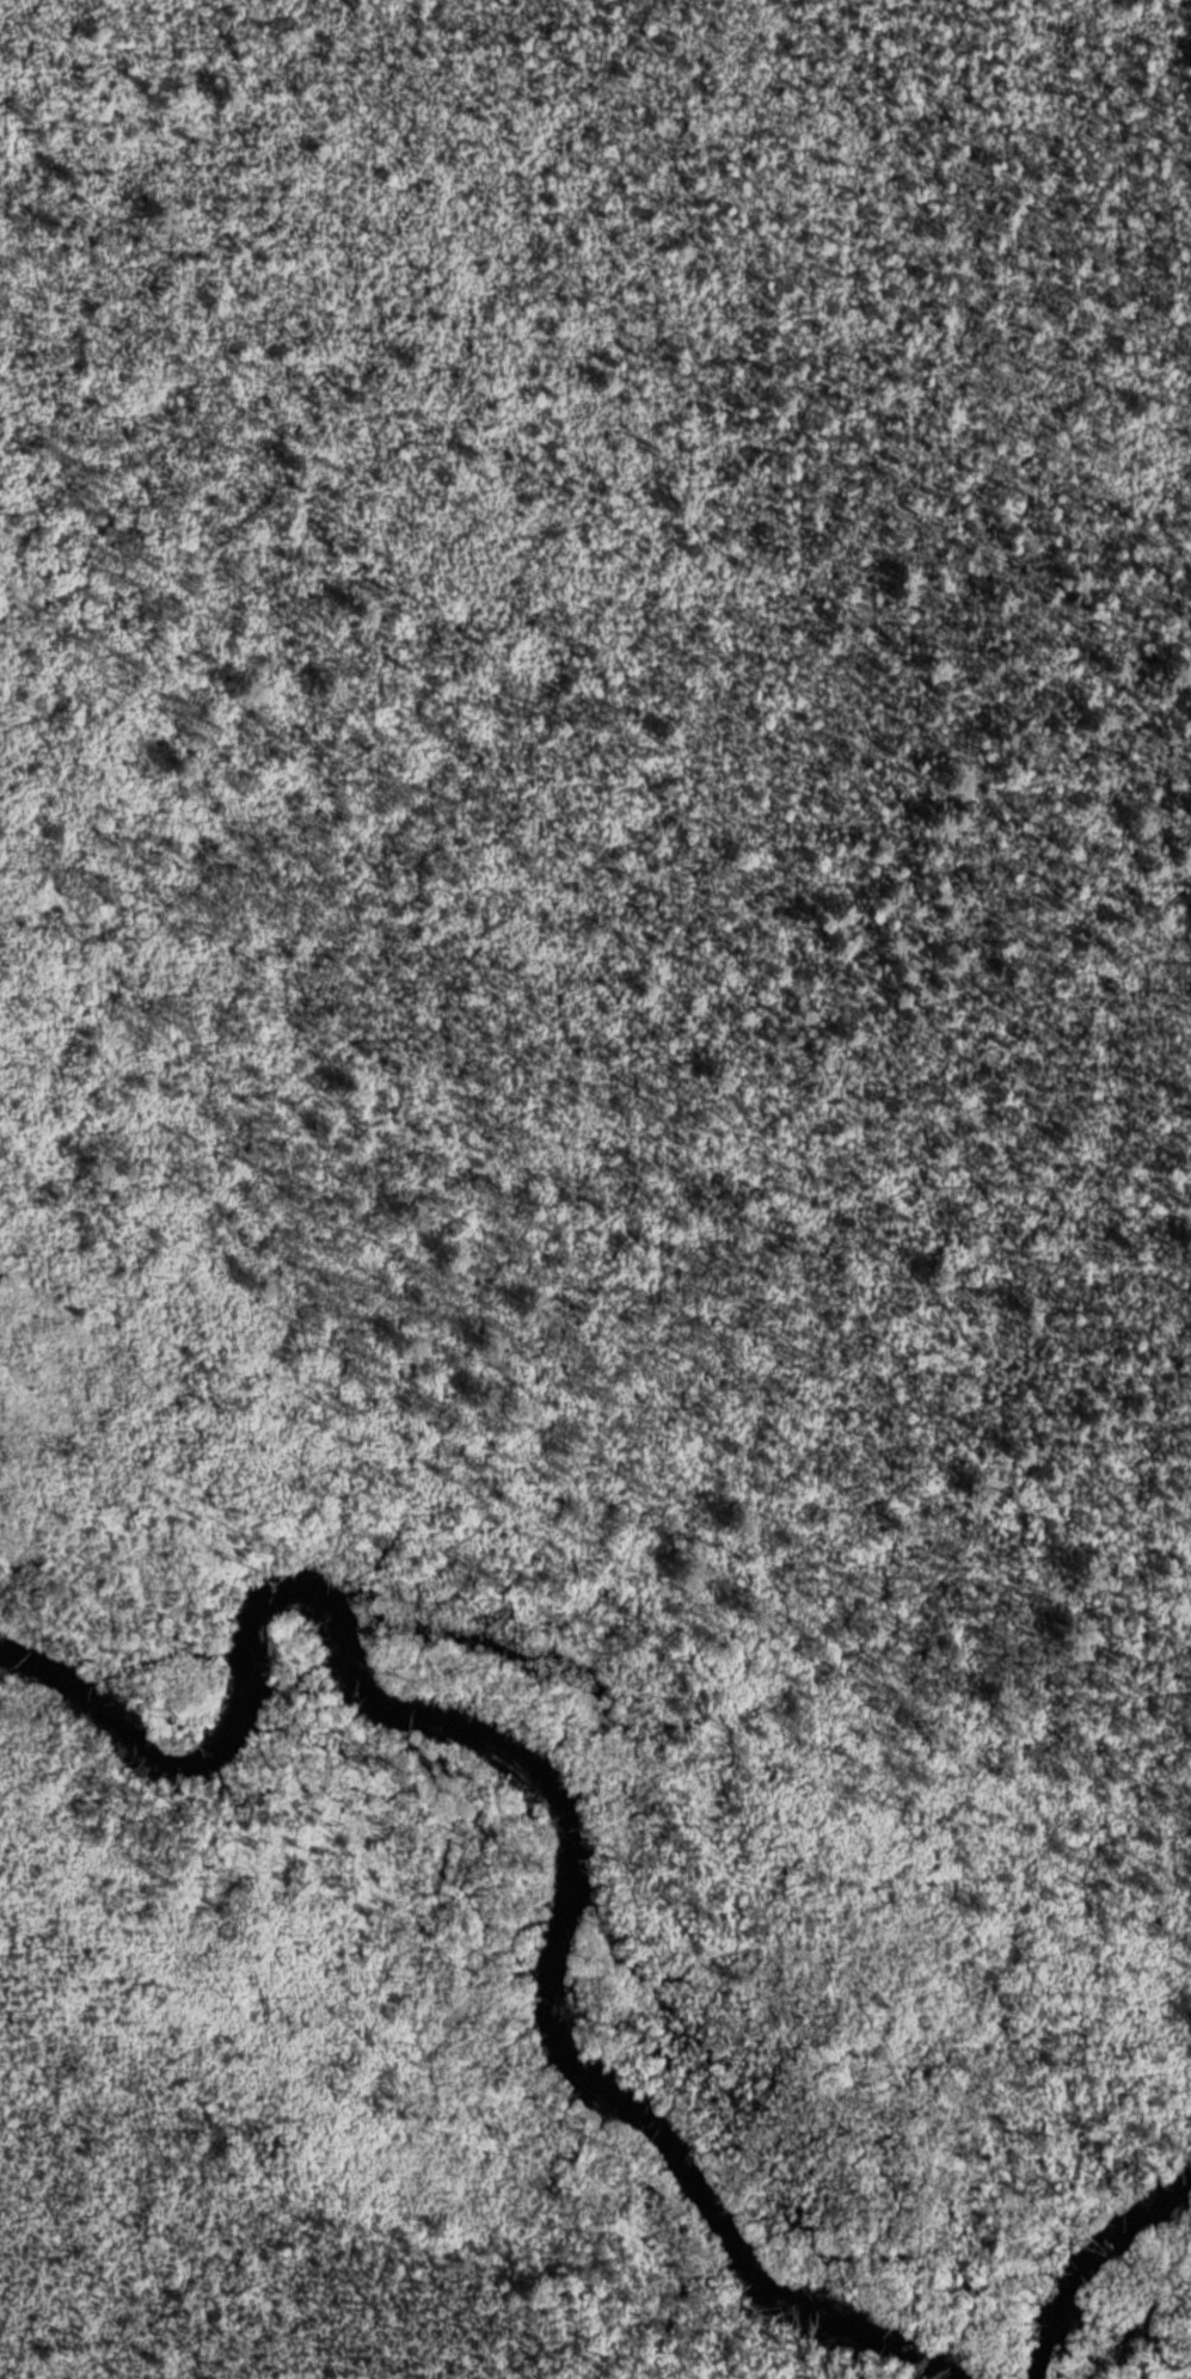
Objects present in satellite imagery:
river: (546, 1779)
river: (1089, 2264)

